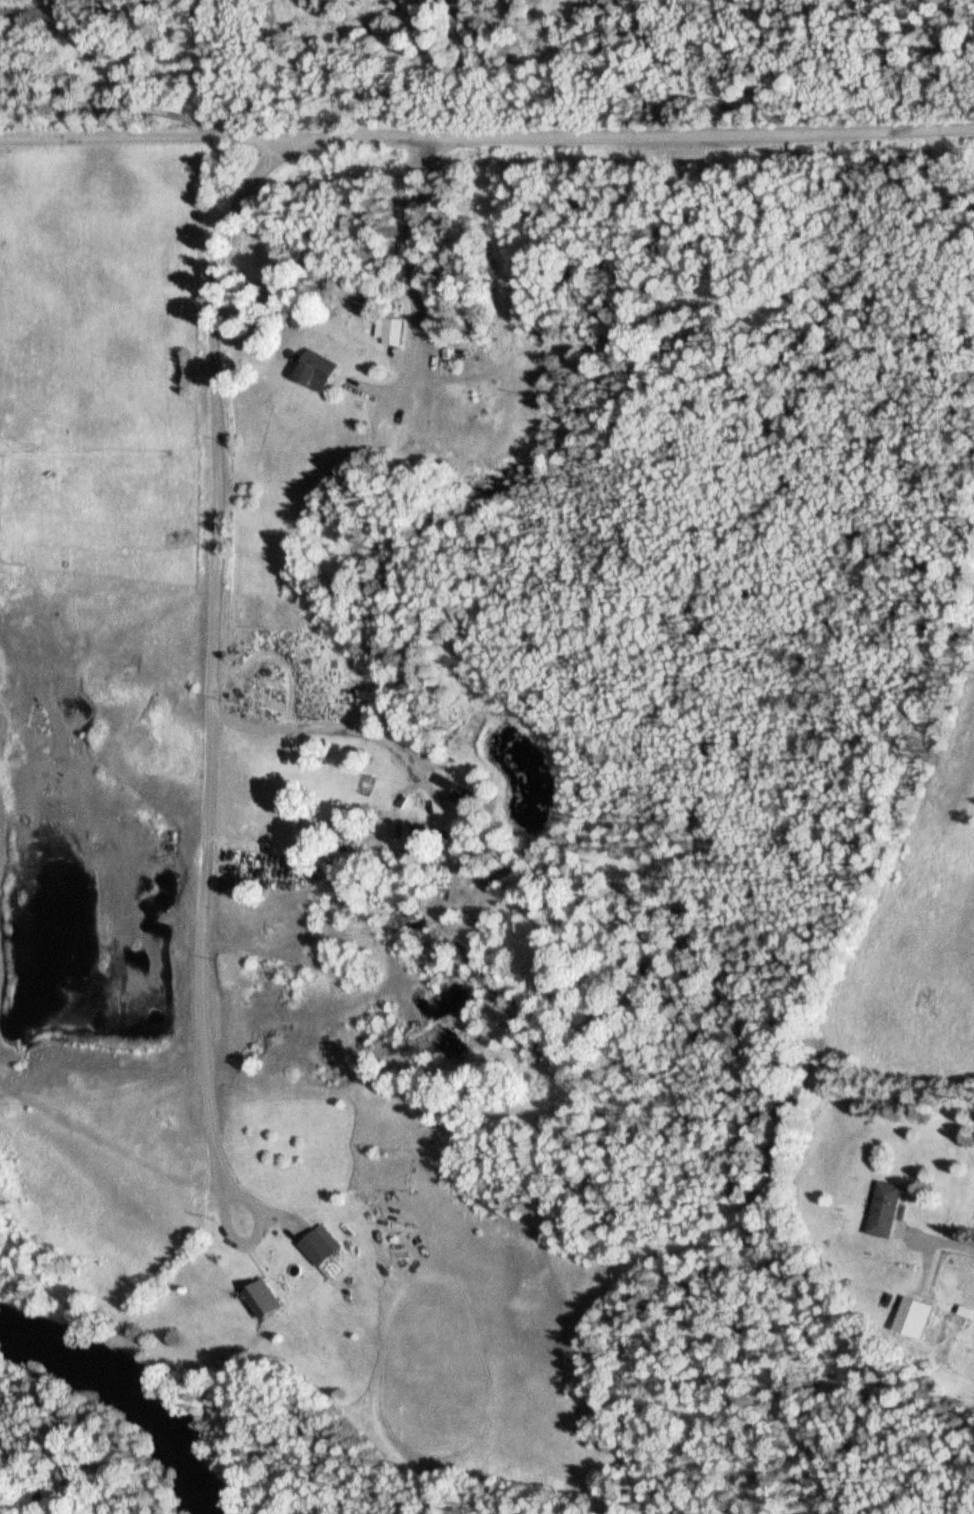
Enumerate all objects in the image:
road: (486, 135)
building: (392, 333)
building: (317, 373)
road: (212, 658)
building: (449, 785)
building: (394, 813)
building: (883, 1210)
road: (939, 1243)
building: (319, 1246)
building: (262, 1300)
building: (912, 1319)
river: (129, 1394)

